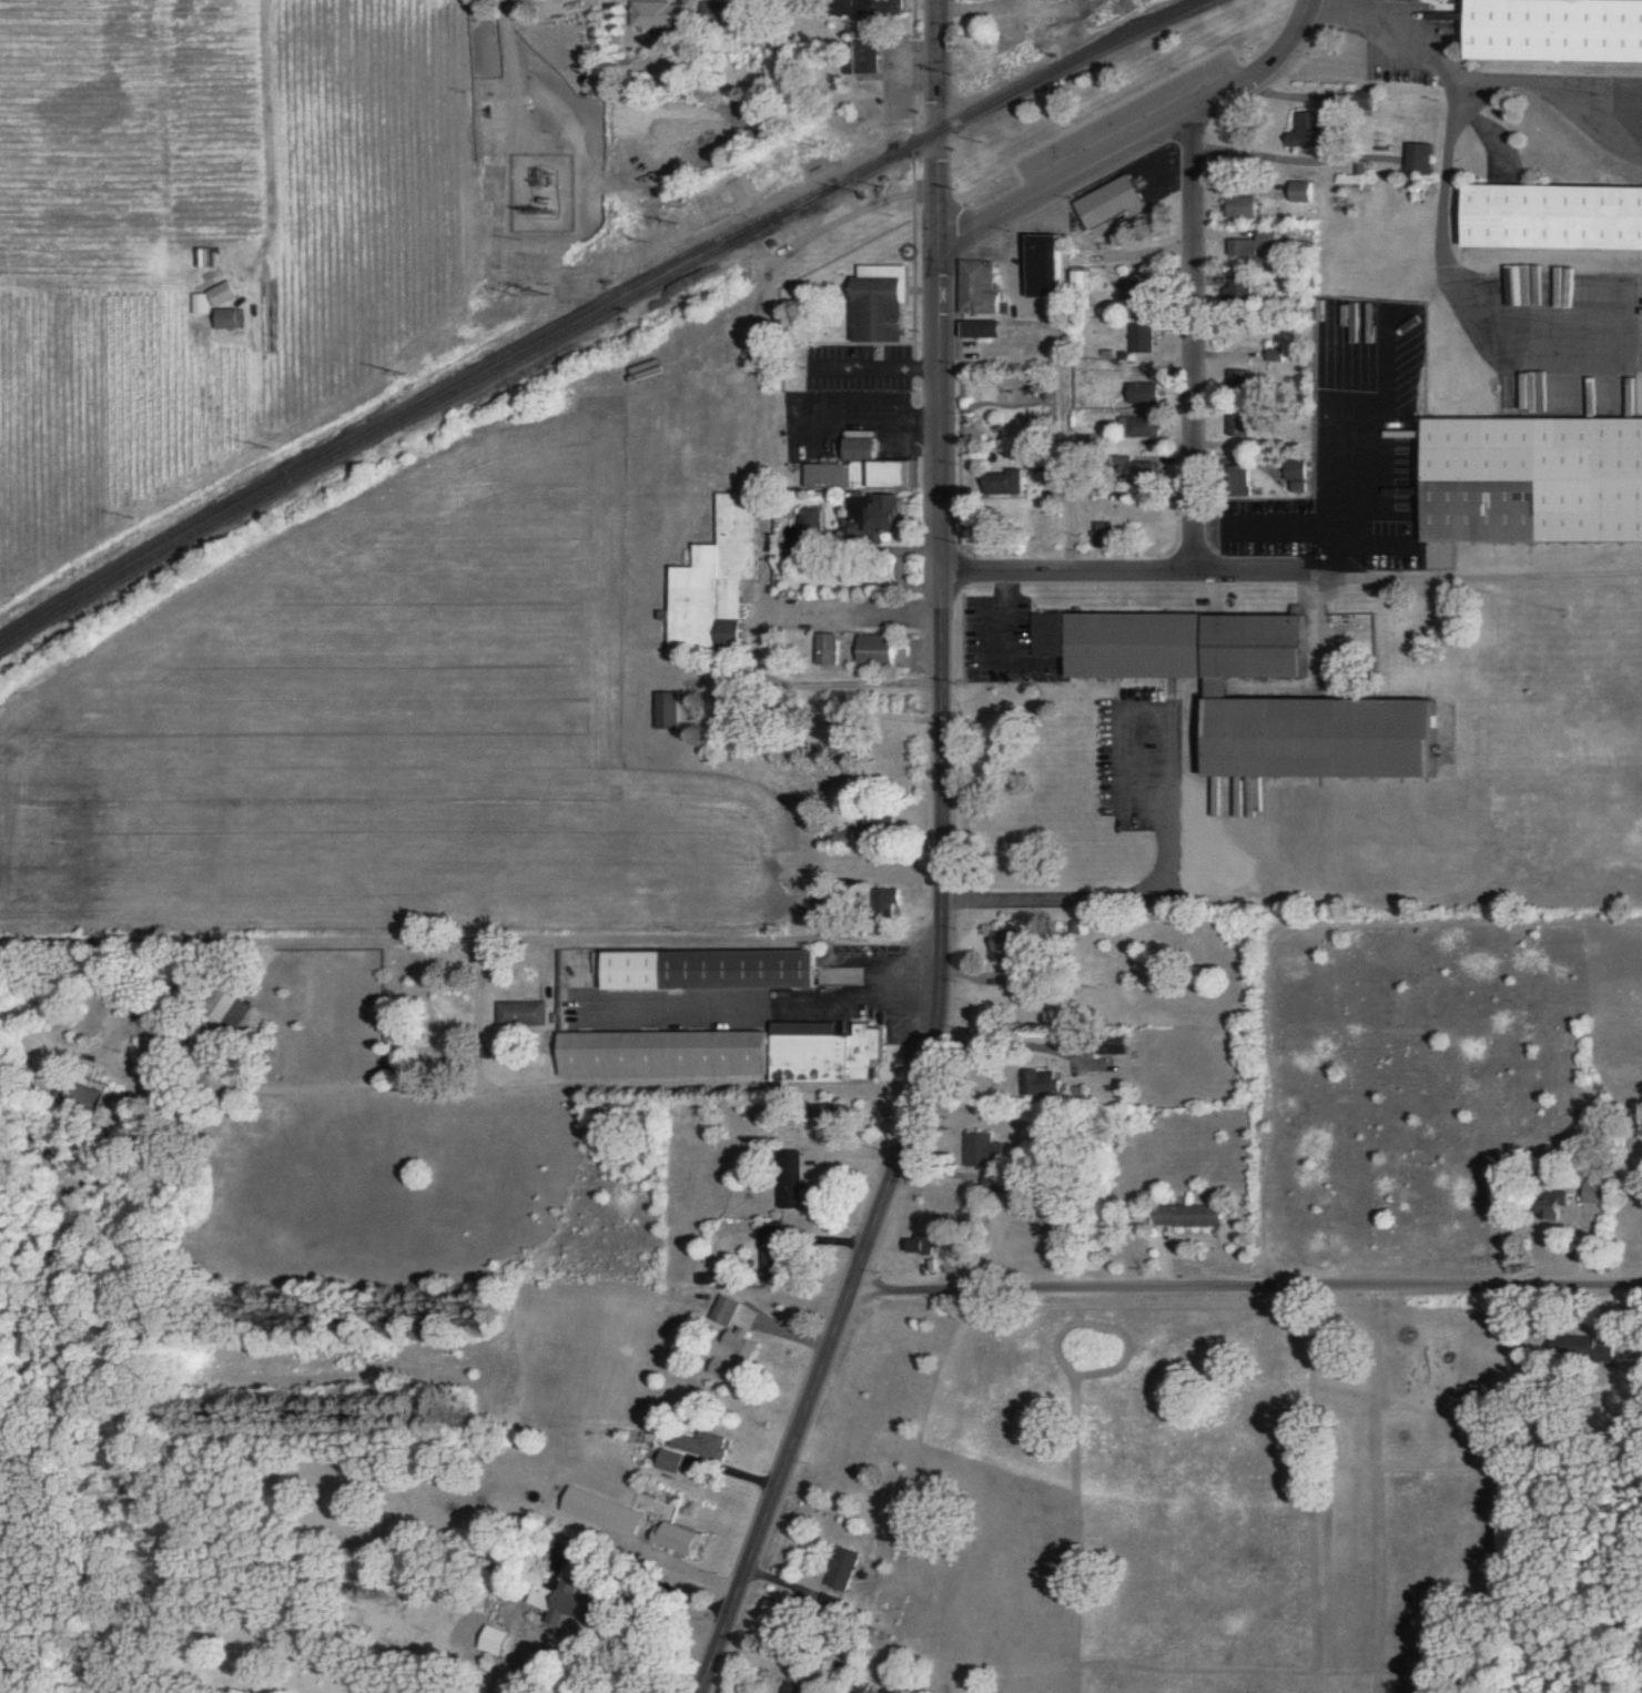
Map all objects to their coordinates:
building: (879, 9)
road: (1351, 11)
building: (662, 14)
building: (1553, 30)
building: (868, 62)
road: (517, 68)
railway: (1025, 88)
road: (941, 129)
building: (1308, 130)
road: (1143, 149)
building: (1417, 158)
building: (1300, 191)
building: (1111, 202)
building: (1241, 207)
building: (1554, 216)
building: (1255, 246)
building: (1044, 266)
building: (1082, 280)
building: (980, 287)
building: (1236, 292)
building: (222, 294)
building: (200, 303)
building: (879, 304)
building: (227, 318)
building: (981, 330)
building: (1141, 338)
road: (1188, 345)
building: (1273, 354)
building: (1234, 381)
building: (1144, 393)
railway: (414, 402)
railway: (415, 412)
building: (1138, 425)
building: (1237, 425)
building: (860, 468)
building: (1296, 475)
building: (1534, 479)
building: (1004, 481)
building: (870, 516)
building: (809, 519)
road: (1293, 574)
building: (716, 578)
road: (1002, 616)
road: (758, 647)
building: (825, 649)
building: (874, 650)
building: (1216, 688)
building: (667, 710)
road: (1136, 895)
building: (885, 900)
road: (469, 940)
building: (1005, 947)
building: (711, 970)
road: (935, 995)
building: (232, 1013)
building: (521, 1014)
road: (1000, 1043)
building: (824, 1053)
building: (665, 1054)
building: (1040, 1084)
road: (455, 1093)
building: (82, 1098)
building: (830, 1118)
building: (980, 1150)
building: (792, 1179)
building: (1597, 1193)
building: (1557, 1203)
building: (1188, 1216)
building: (924, 1245)
building: (773, 1264)
road: (1245, 1291)
building: (726, 1309)
building: (1573, 1347)
building: (700, 1443)
building: (669, 1461)
building: (601, 1511)
building: (675, 1538)
building: (841, 1569)
road: (642, 1571)
building: (556, 1603)
building: (494, 1640)
building: (792, 1687)

